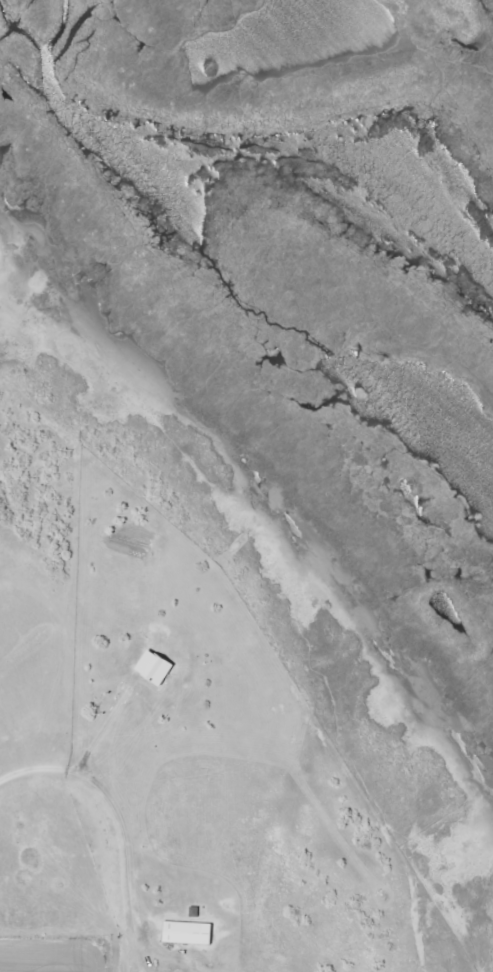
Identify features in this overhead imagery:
building: (156, 667)
road: (113, 810)
building: (188, 933)

